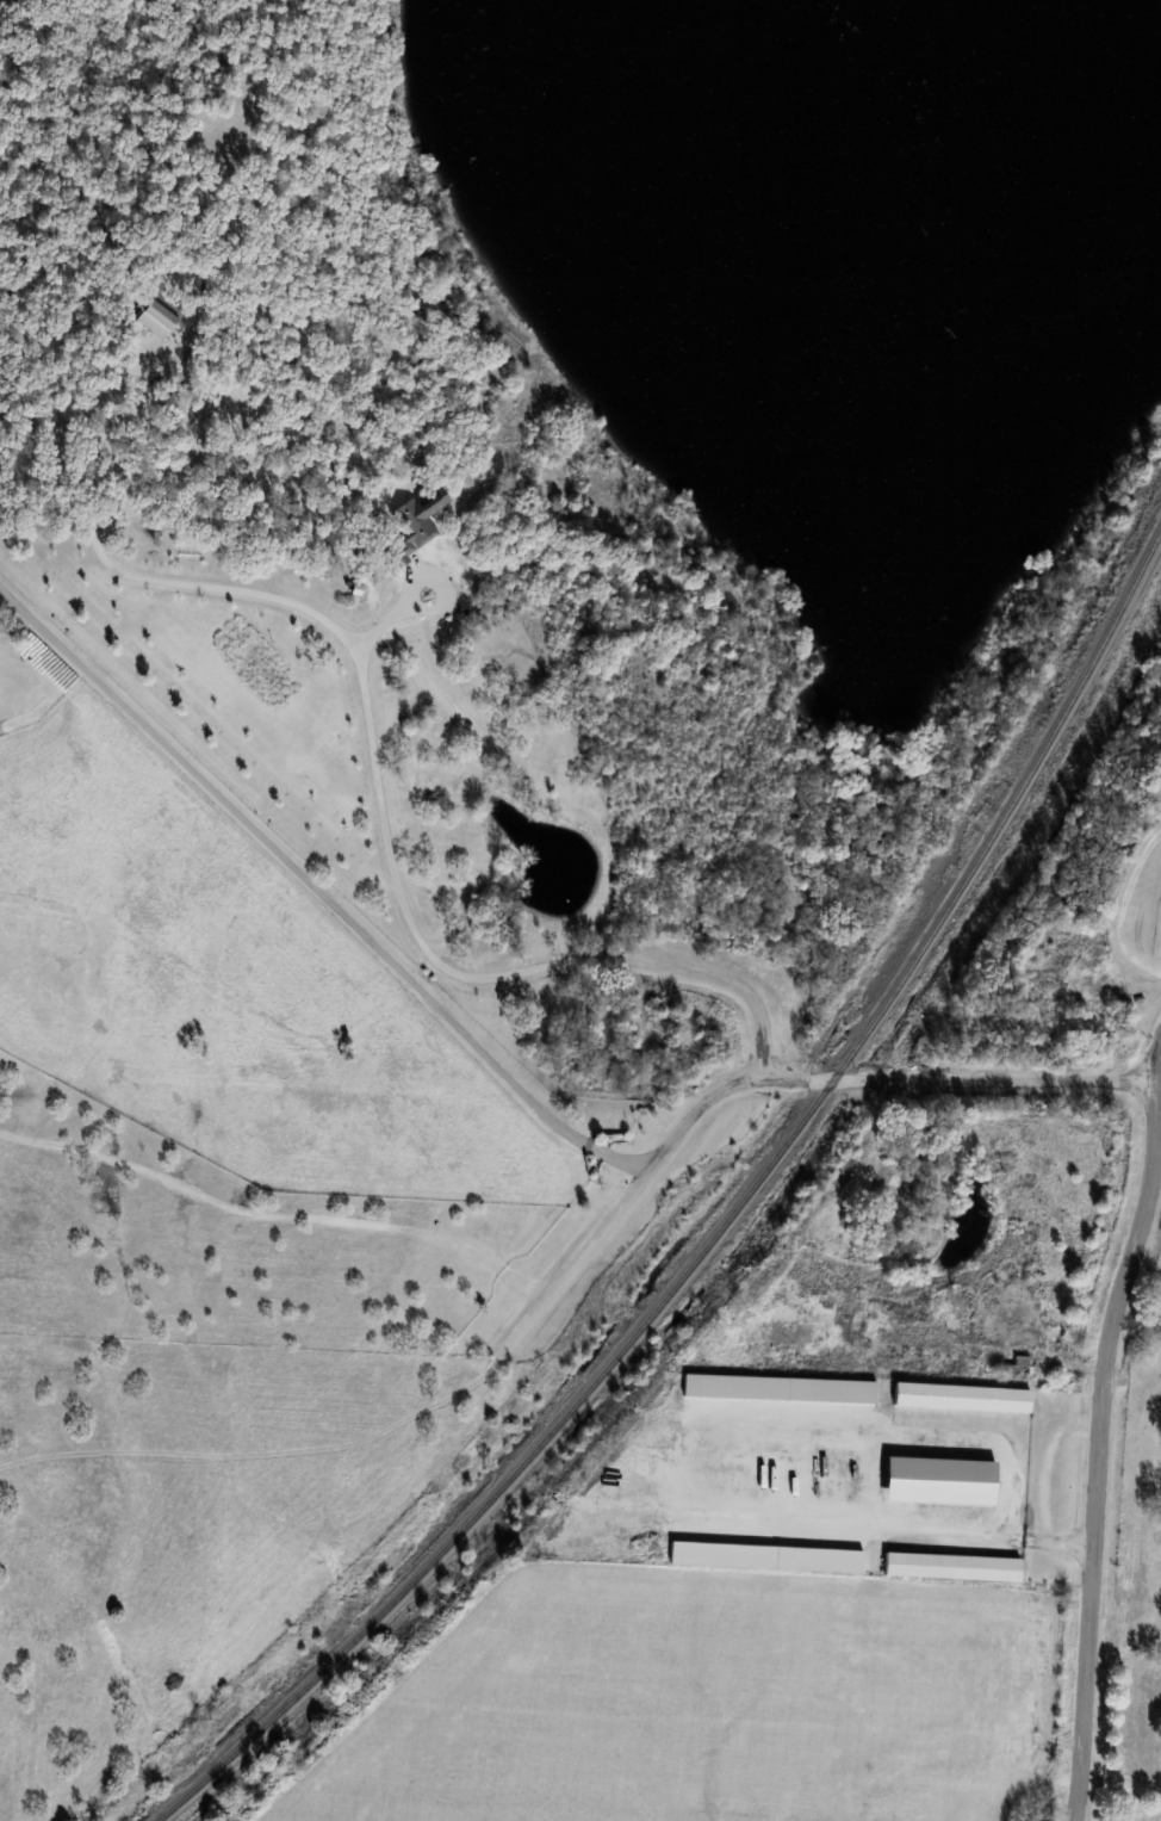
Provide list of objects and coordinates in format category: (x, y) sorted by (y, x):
building: (157, 315)
building: (411, 520)
road: (380, 776)
road: (319, 886)
road: (801, 1077)
road: (279, 1215)
railway: (725, 1221)
building: (961, 1396)
road: (1092, 1426)
building: (950, 1566)

